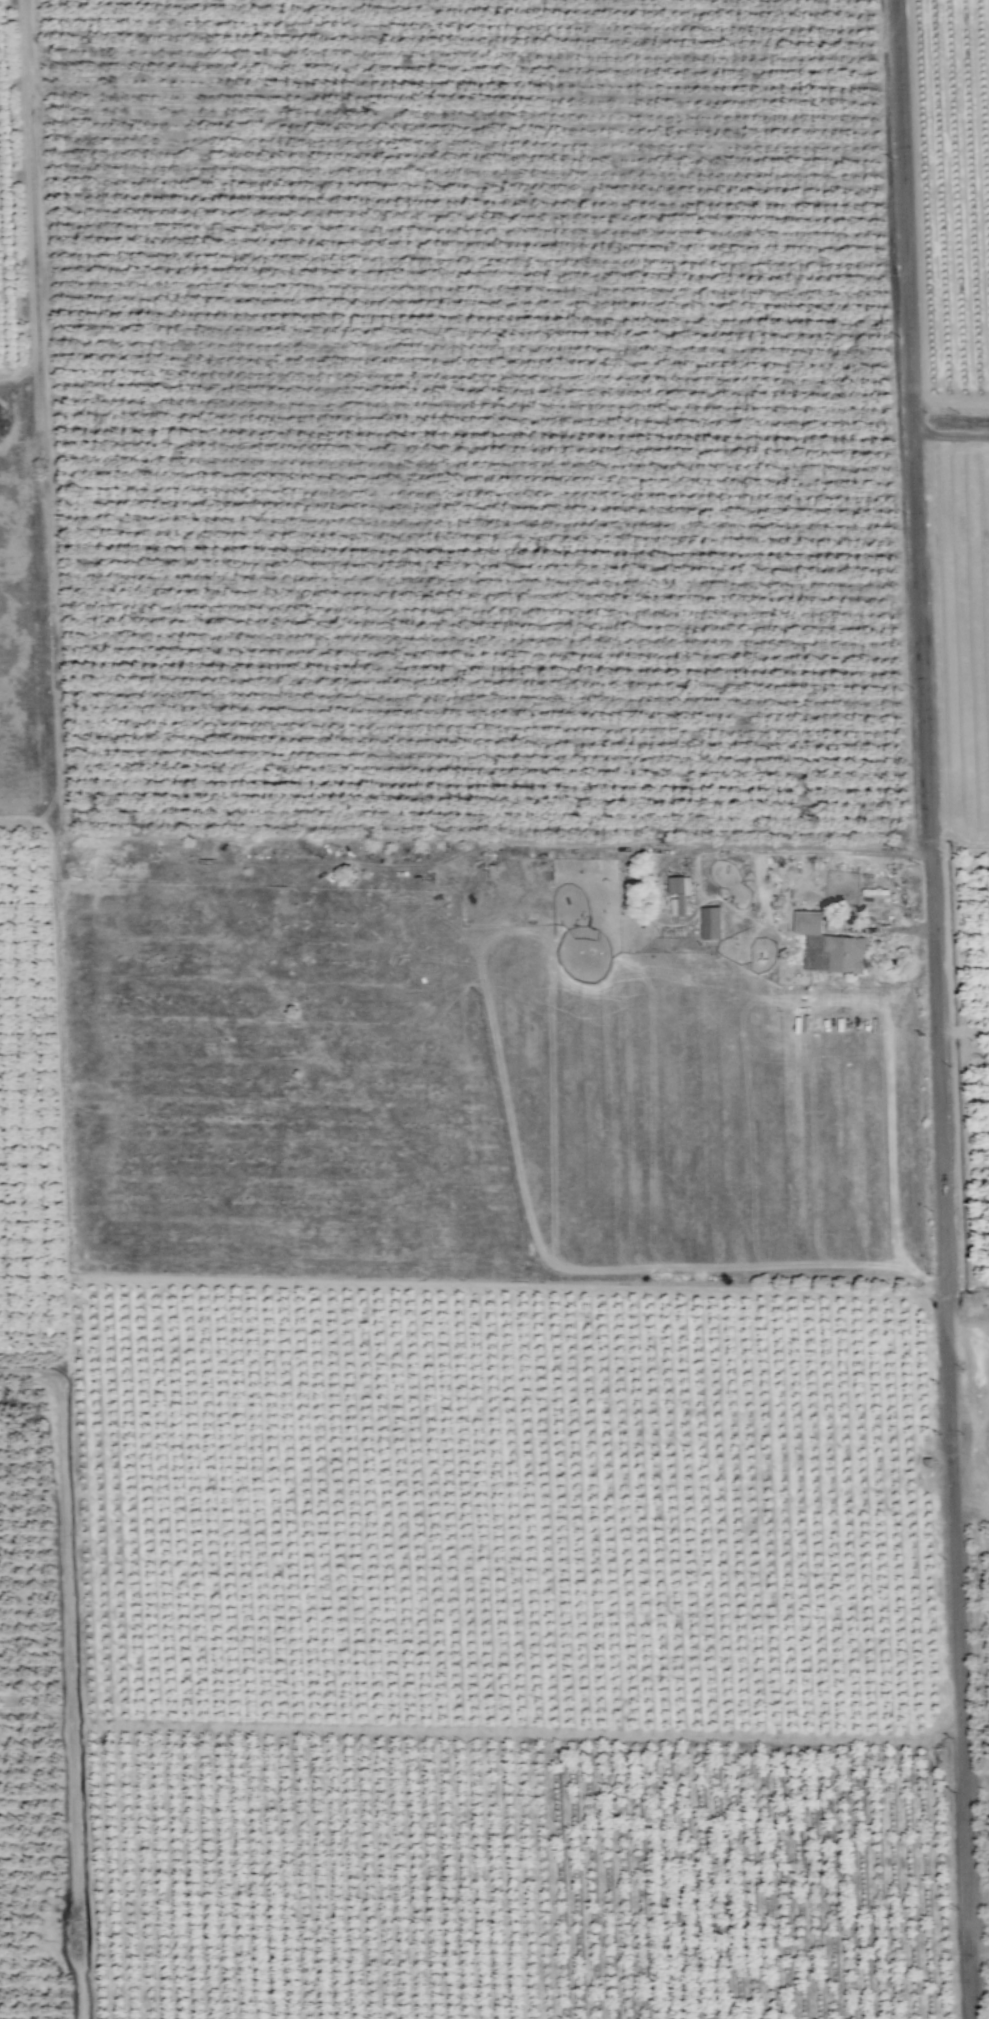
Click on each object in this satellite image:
building: (679, 894)
building: (710, 923)
building: (807, 923)
building: (845, 954)
road: (937, 1009)

